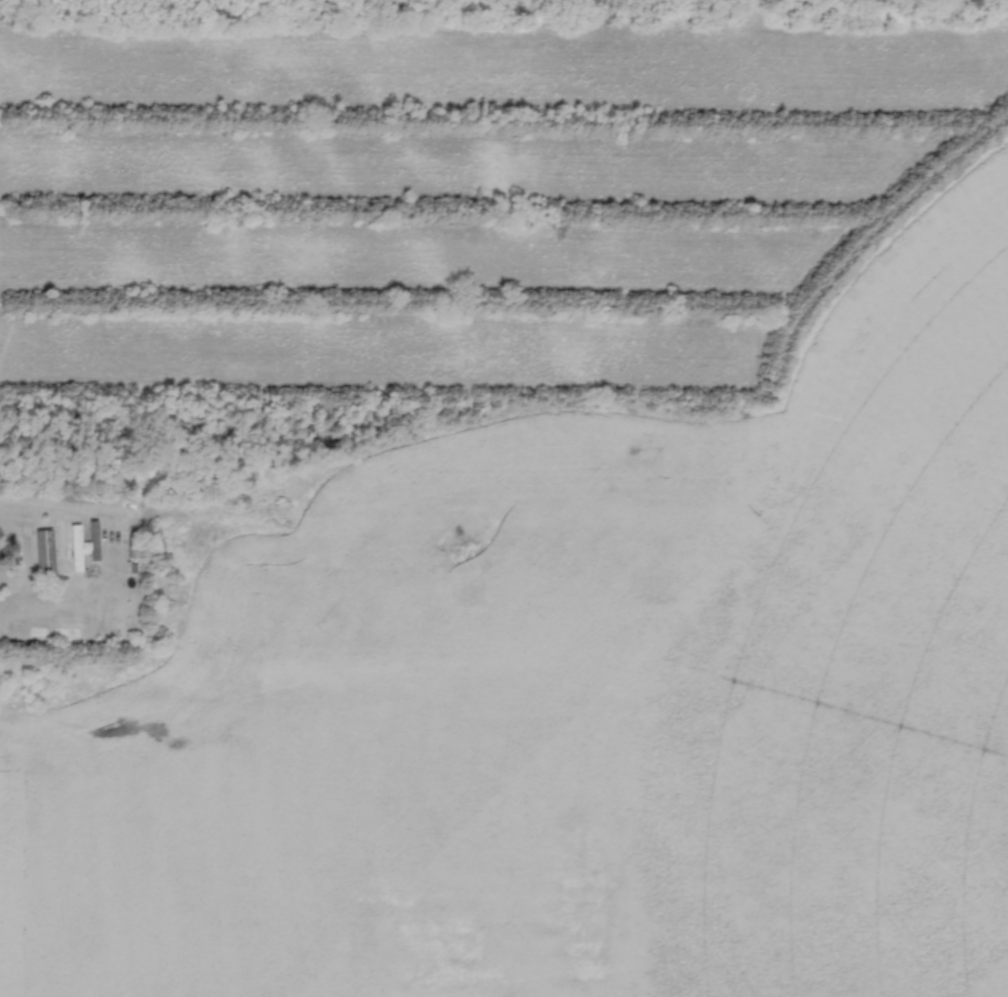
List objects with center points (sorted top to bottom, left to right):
road: (60, 509)
building: (95, 542)
building: (78, 549)
building: (47, 552)

